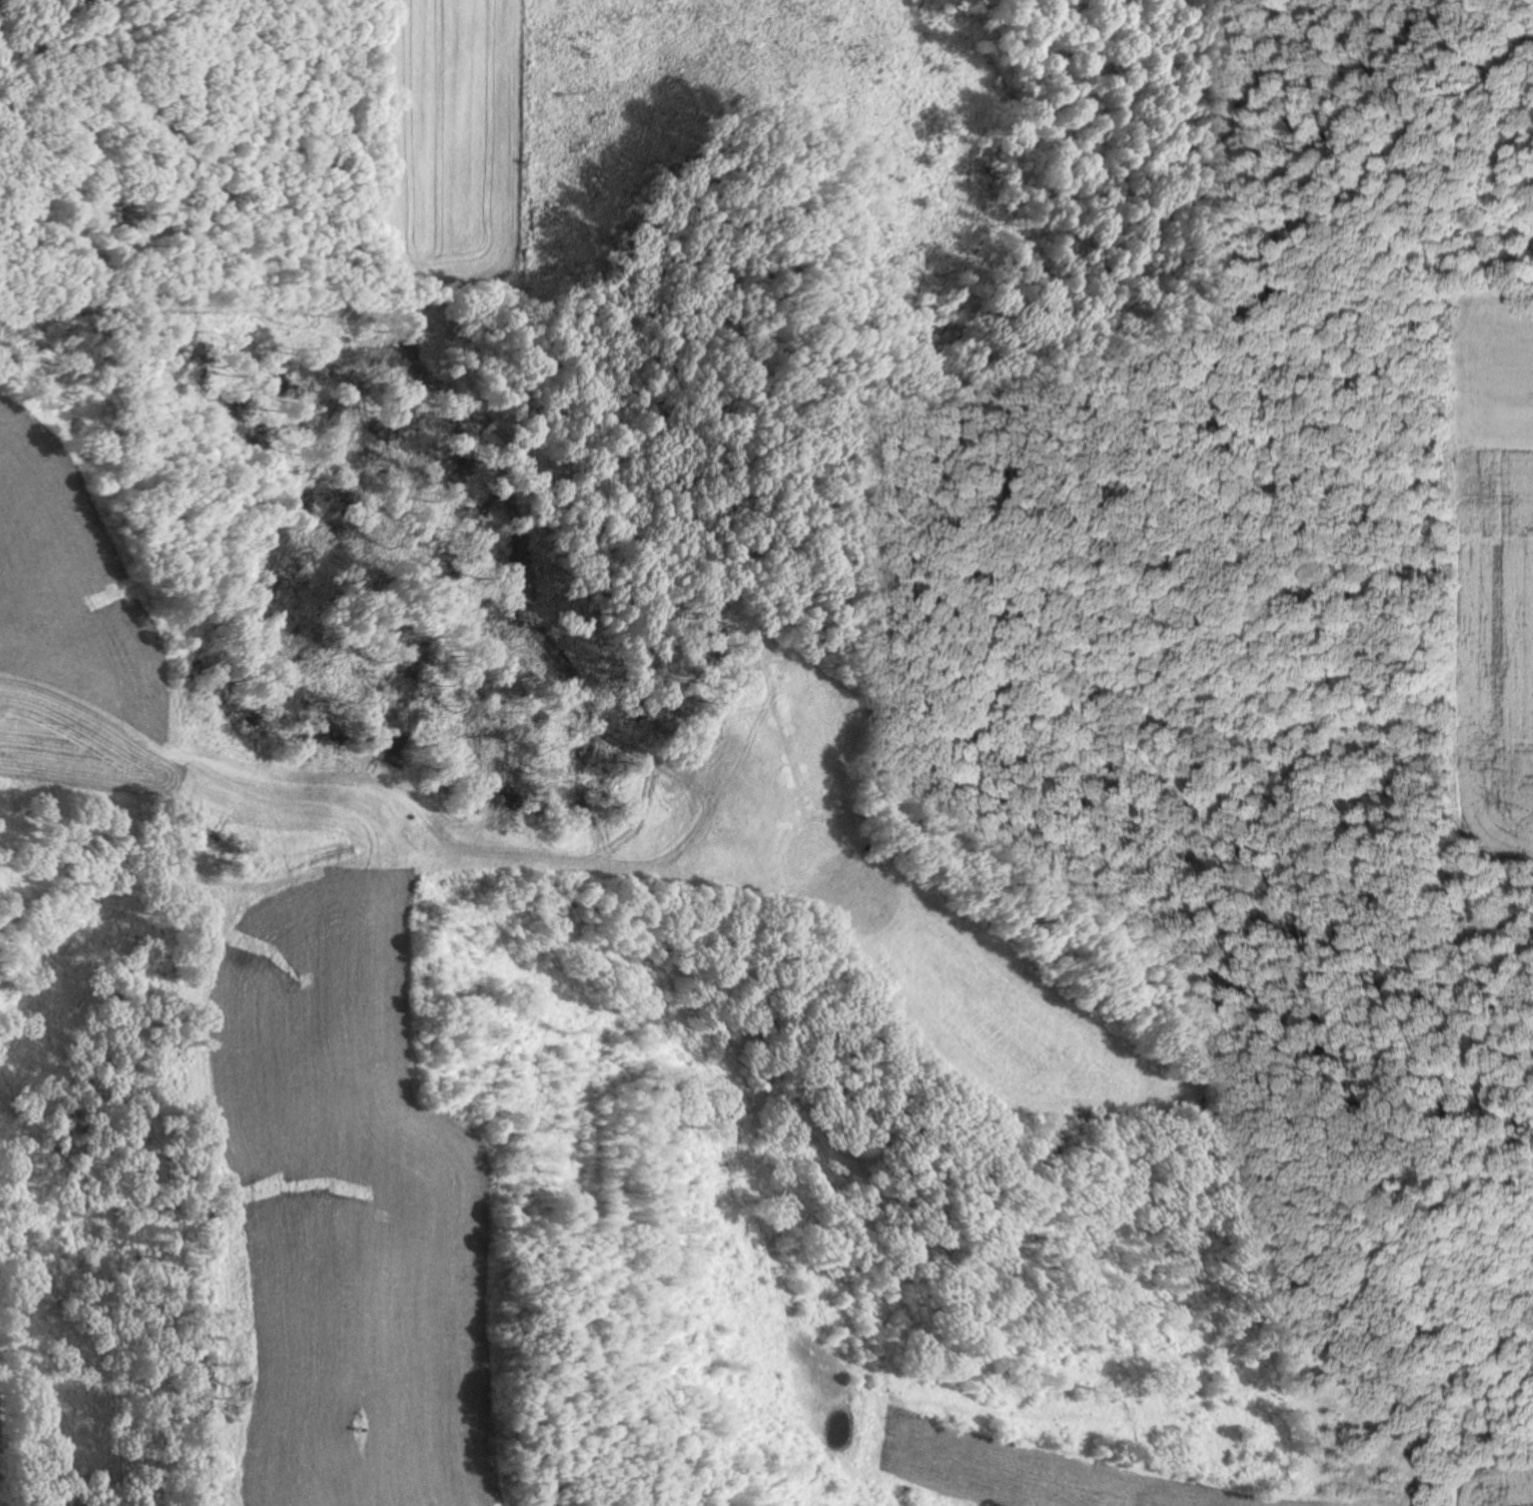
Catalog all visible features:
crop: (454, 128)
crop: (1495, 578)
crop: (318, 948)
crop: (4, 1448)
crop: (1170, 1474)

